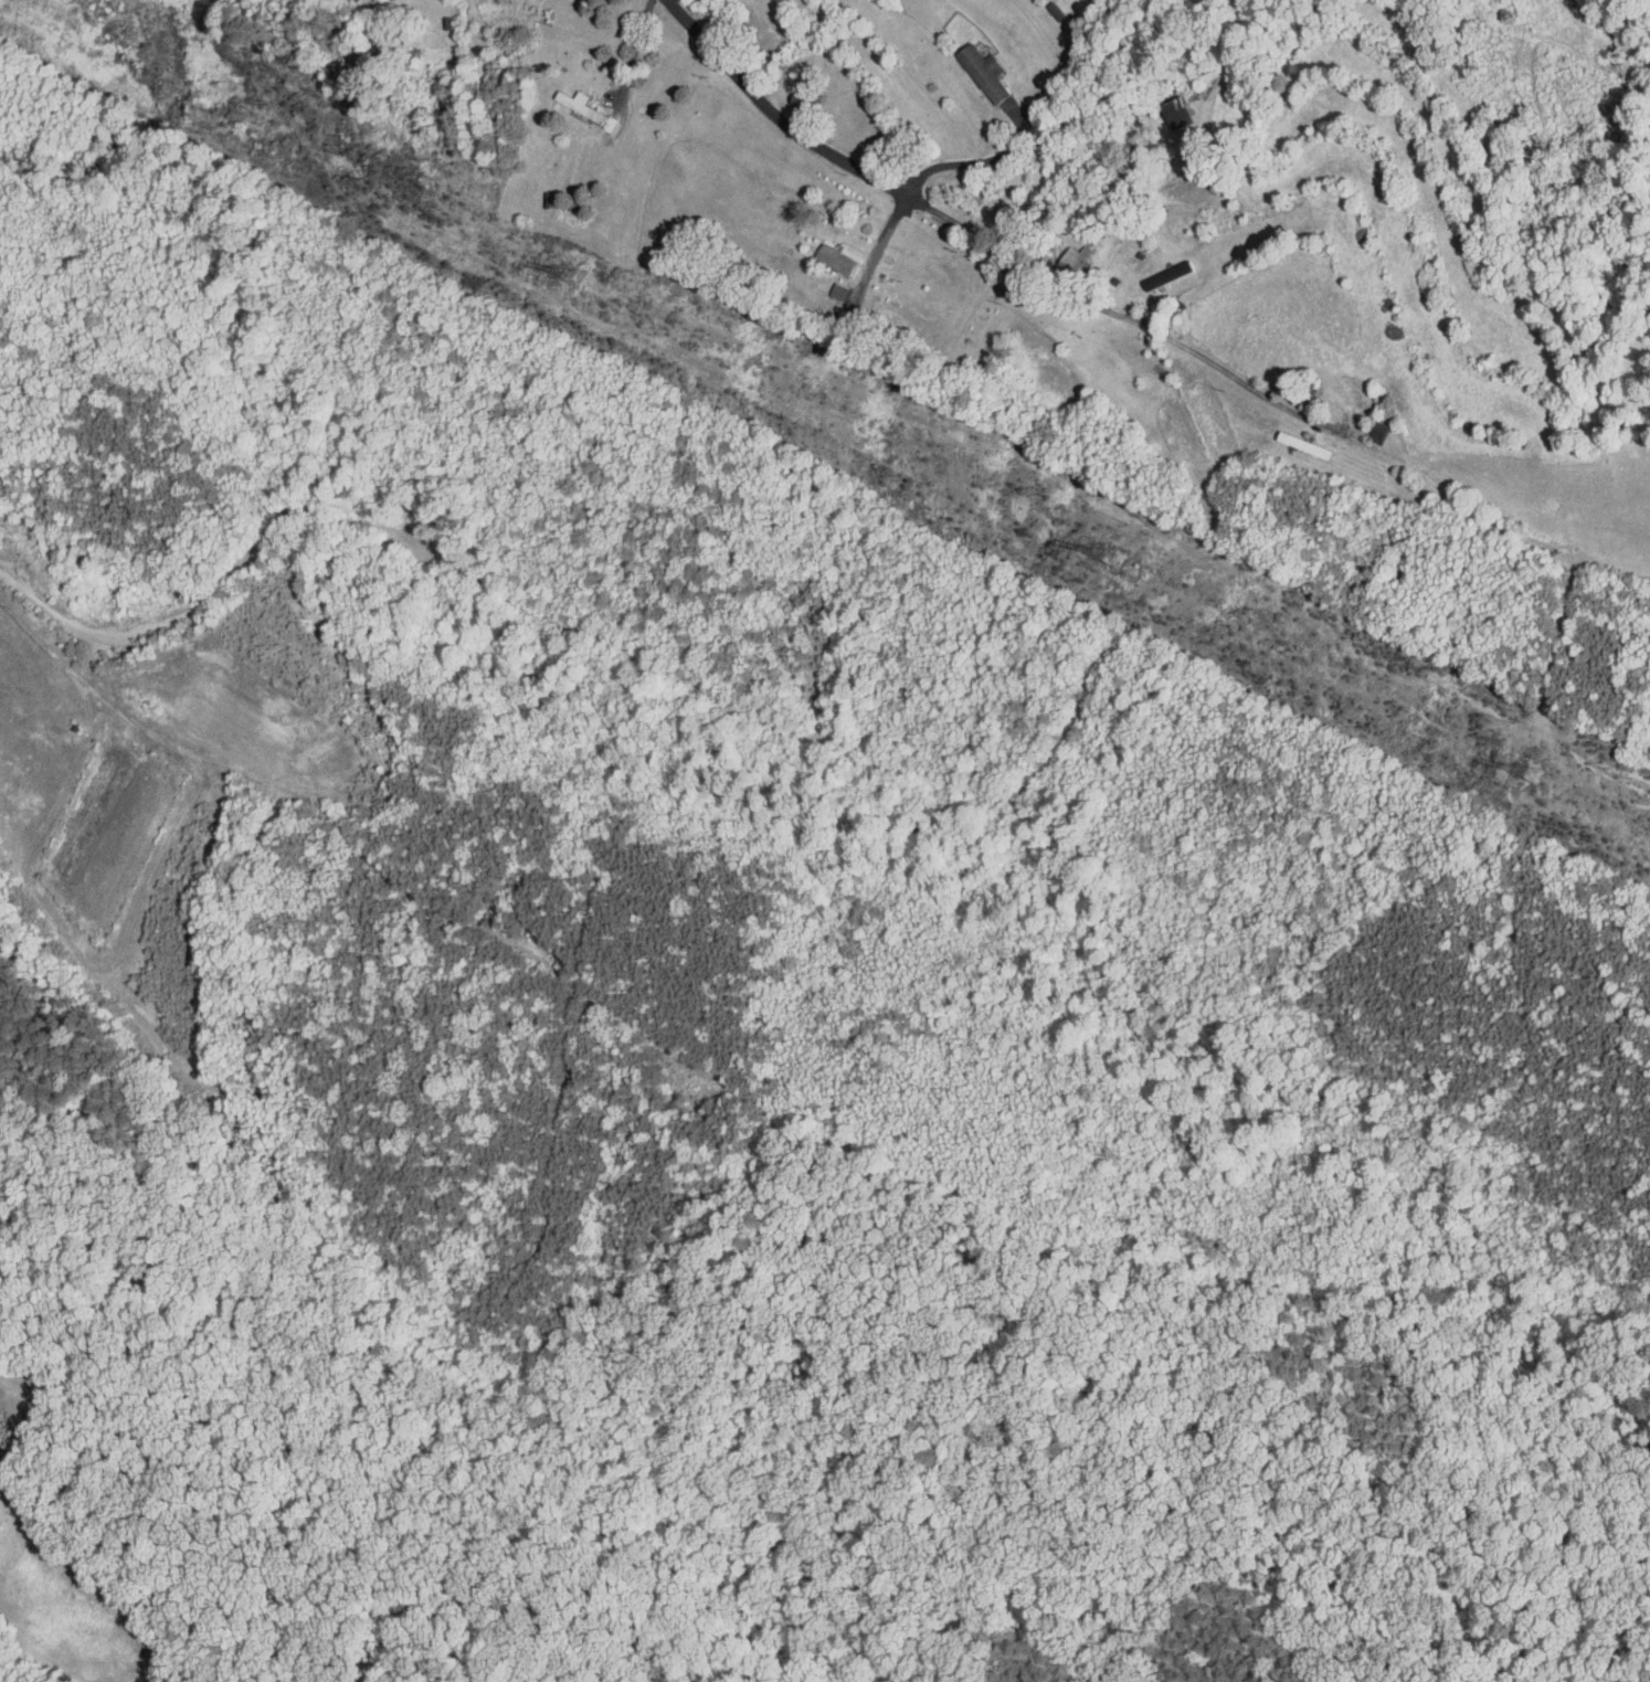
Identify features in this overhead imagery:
road: (634, 51)
building: (969, 65)
building: (563, 97)
road: (785, 119)
road: (961, 157)
road: (876, 237)
building: (821, 253)
building: (1059, 254)
building: (1152, 268)
power tower: (568, 282)
building: (824, 285)
road: (1135, 317)
power tower: (1117, 560)
power tower: (1533, 774)

